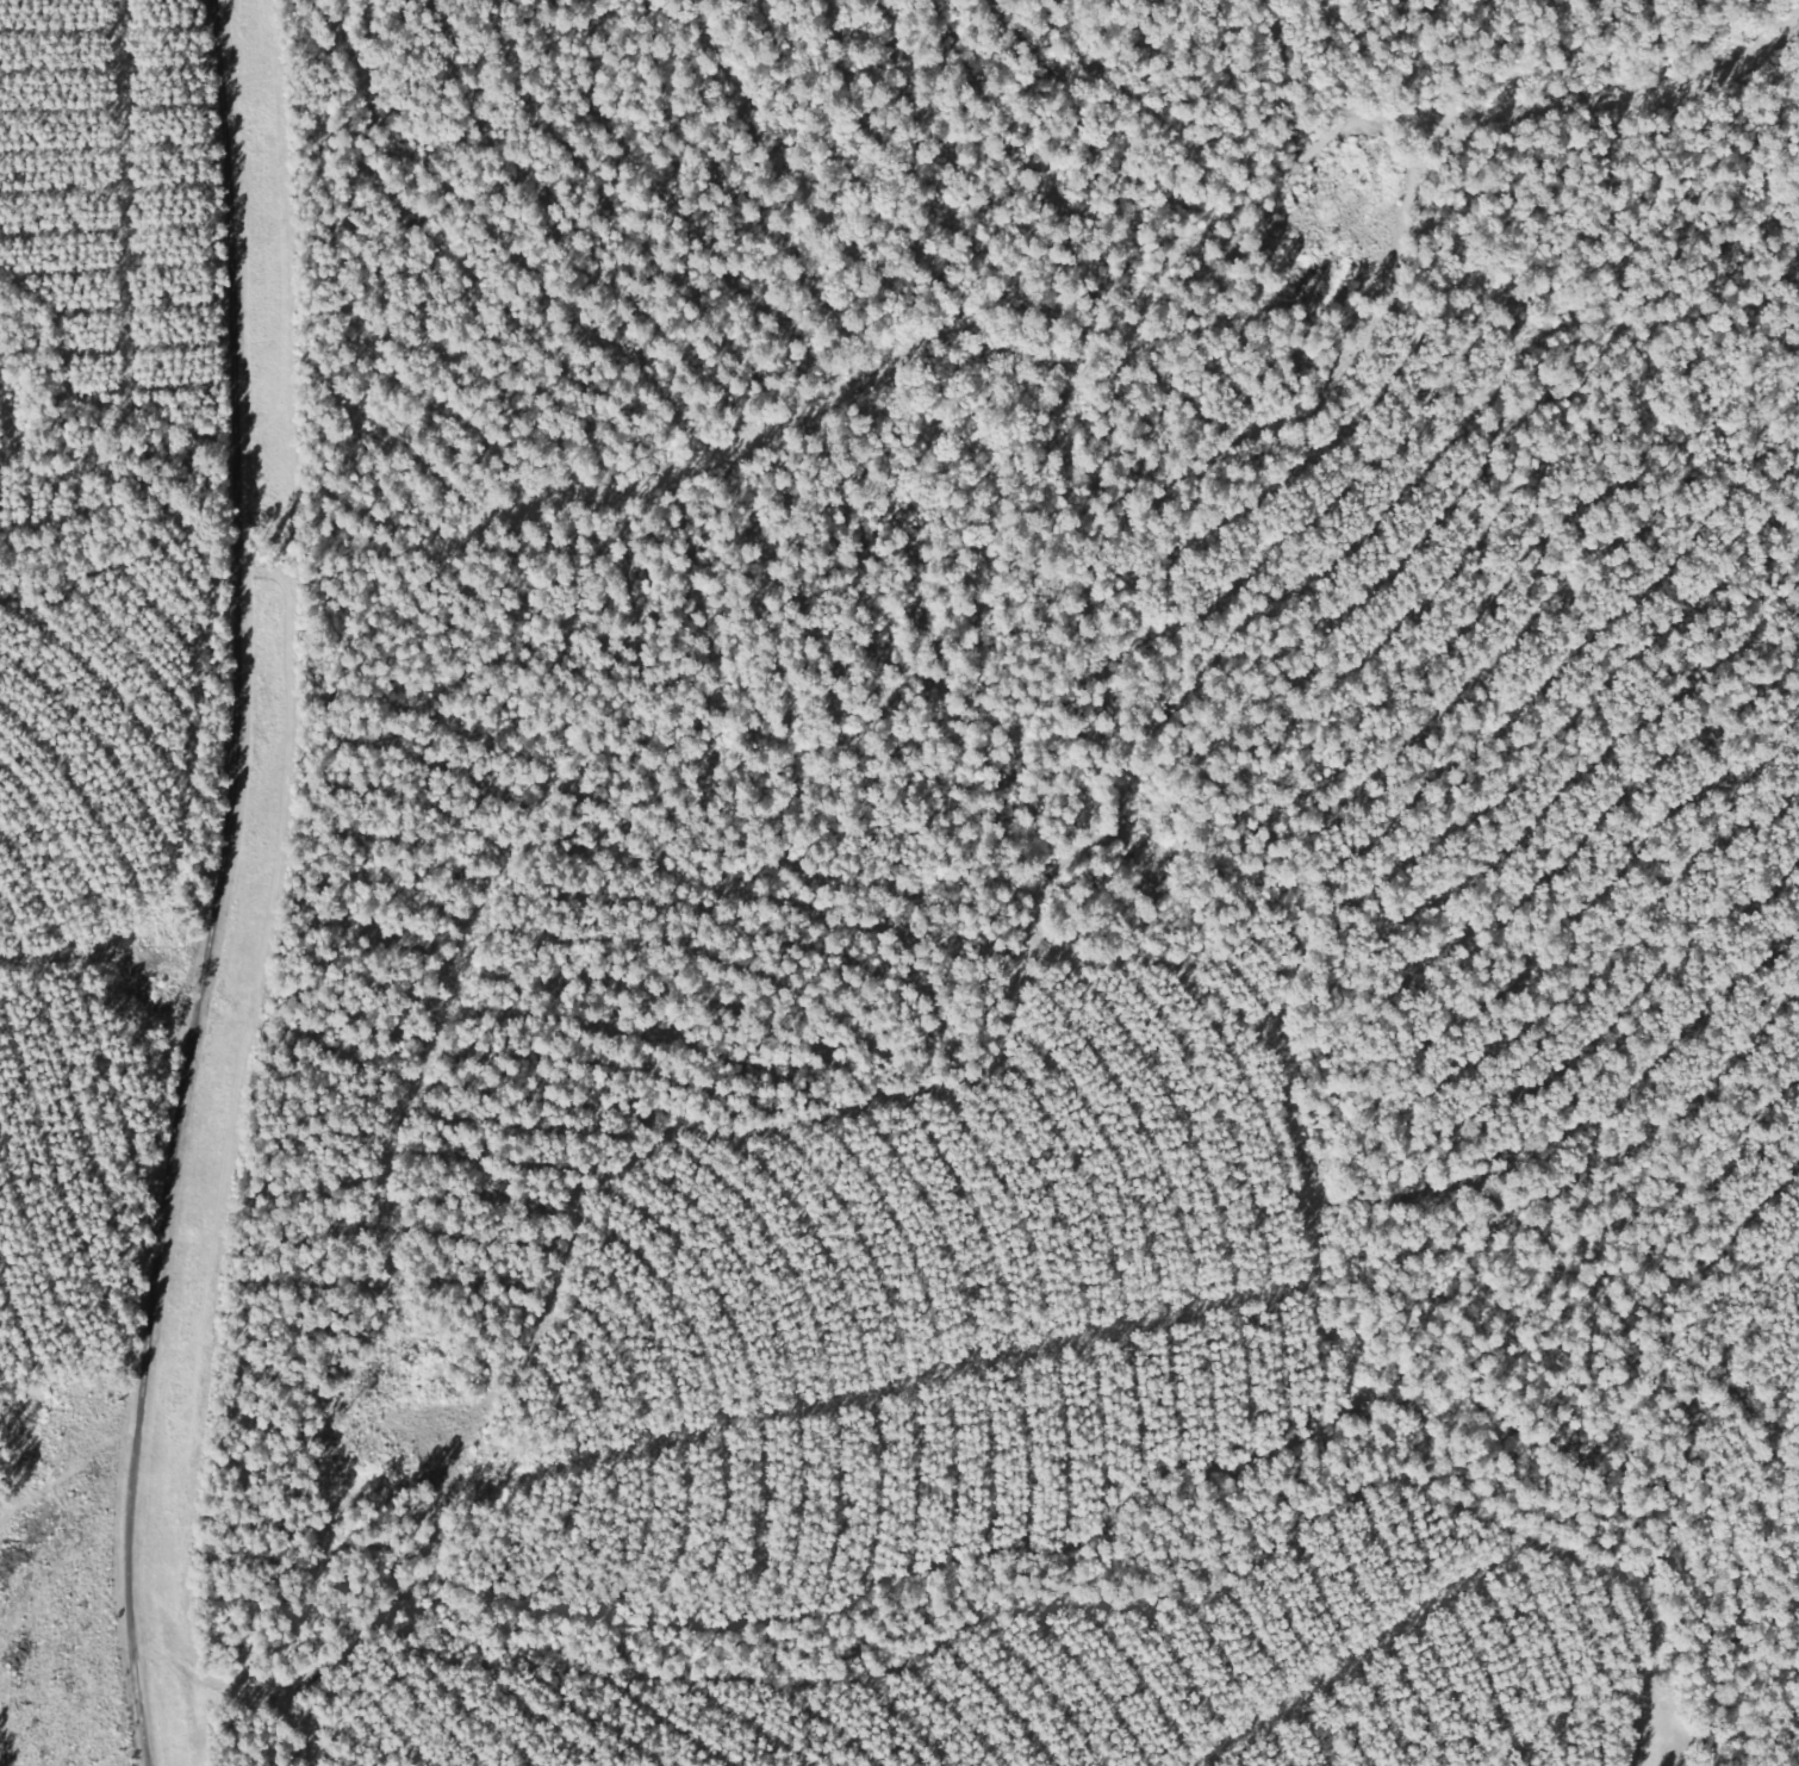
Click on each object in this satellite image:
road: (222, 884)

